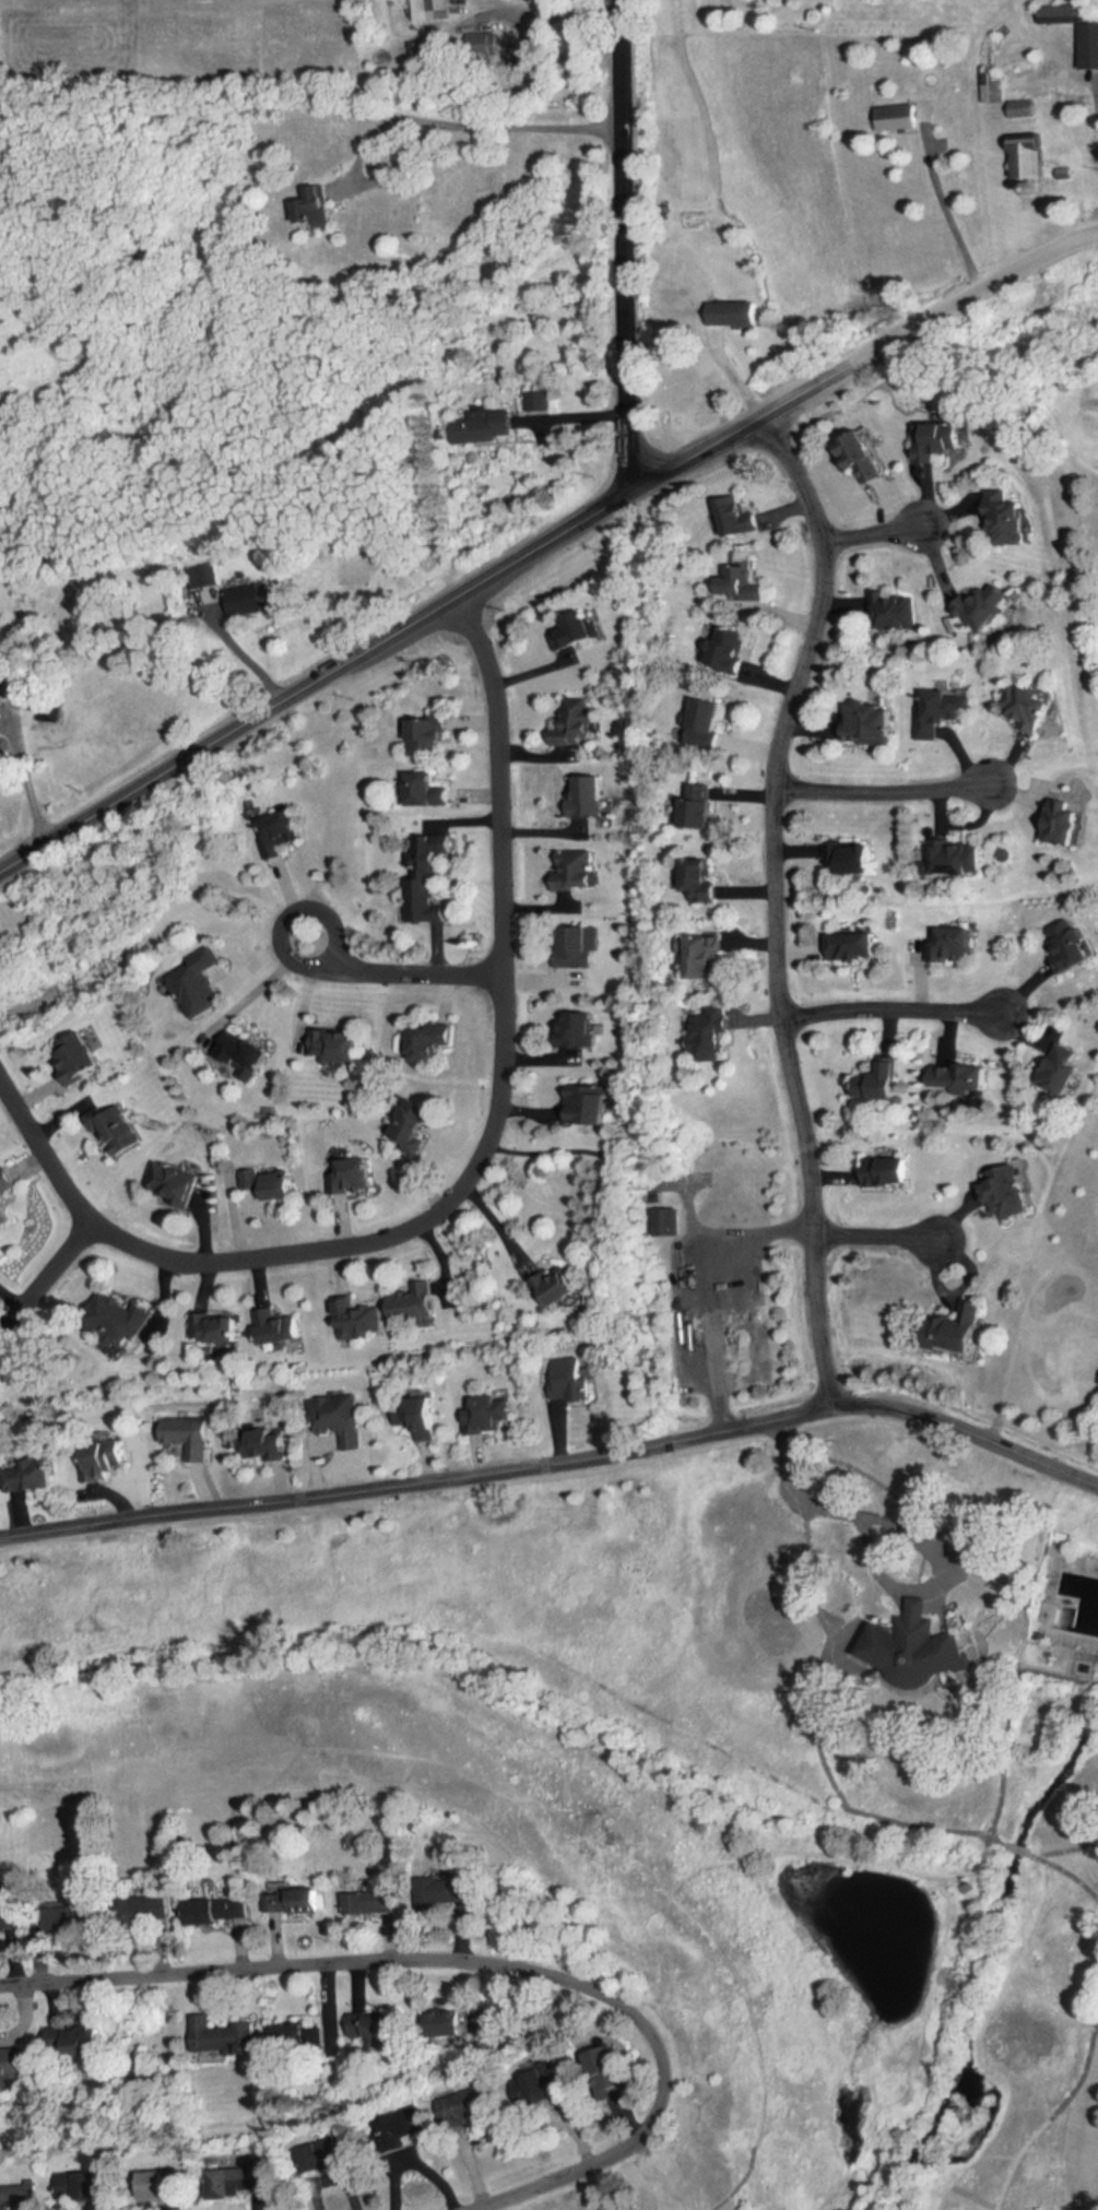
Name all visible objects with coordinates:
building: (422, 10)
road: (553, 14)
building: (1088, 46)
building: (480, 47)
building: (433, 58)
building: (991, 86)
road: (1094, 105)
building: (900, 116)
road: (421, 140)
building: (1030, 154)
building: (316, 202)
road: (946, 212)
road: (626, 247)
building: (735, 312)
road: (862, 356)
building: (540, 401)
building: (483, 427)
building: (941, 440)
building: (862, 456)
building: (737, 516)
building: (1008, 520)
park: (1076, 524)
road: (870, 535)
building: (737, 579)
building: (248, 601)
building: (985, 606)
building: (890, 611)
building: (577, 630)
building: (730, 649)
road: (240, 654)
road: (317, 681)
building: (1029, 707)
building: (943, 711)
building: (708, 721)
building: (876, 723)
building: (575, 724)
building: (428, 736)
road: (27, 776)
building: (428, 789)
road: (883, 793)
building: (588, 796)
building: (700, 805)
building: (1070, 822)
building: (279, 831)
building: (854, 858)
building: (956, 859)
building: (575, 870)
building: (426, 878)
building: (700, 879)
road: (774, 906)
building: (954, 944)
building: (1073, 945)
building: (577, 946)
building: (855, 946)
building: (704, 958)
road: (399, 974)
building: (194, 985)
road: (258, 985)
road: (887, 1011)
building: (579, 1029)
building: (711, 1036)
building: (434, 1041)
building: (338, 1045)
building: (245, 1053)
building: (76, 1057)
building: (1065, 1072)
building: (964, 1076)
building: (885, 1080)
building: (590, 1106)
building: (413, 1123)
building: (117, 1130)
building: (890, 1171)
road: (476, 1172)
building: (354, 1177)
building: (172, 1181)
building: (271, 1183)
building: (1007, 1194)
building: (3, 1208)
road: (878, 1236)
road: (46, 1277)
road: (692, 1278)
building: (563, 1286)
road: (13, 1290)
building: (413, 1305)
parking lot: (711, 1312)
building: (356, 1319)
building: (119, 1320)
building: (214, 1328)
building: (276, 1328)
building: (960, 1332)
building: (570, 1380)
building: (491, 1415)
building: (420, 1416)
building: (340, 1419)
building: (189, 1435)
building: (269, 1444)
building: (104, 1461)
road: (1054, 1469)
road: (510, 1470)
building: (35, 1476)
road: (902, 1532)
building: (914, 1648)
park: (687, 1725)
building: (295, 1901)
building: (373, 1903)
building: (154, 1907)
building: (220, 1910)
building: (11, 1913)
building: (74, 1922)
road: (494, 1958)
building: (452, 2024)
building: (378, 2025)
building: (293, 2036)
building: (225, 2037)
building: (91, 2043)
building: (17, 2064)
building: (541, 2082)
building: (470, 2104)
building: (400, 2130)
road: (417, 2155)
building: (319, 2156)
building: (234, 2182)
building: (81, 2186)
building: (160, 2186)
building: (17, 2196)

